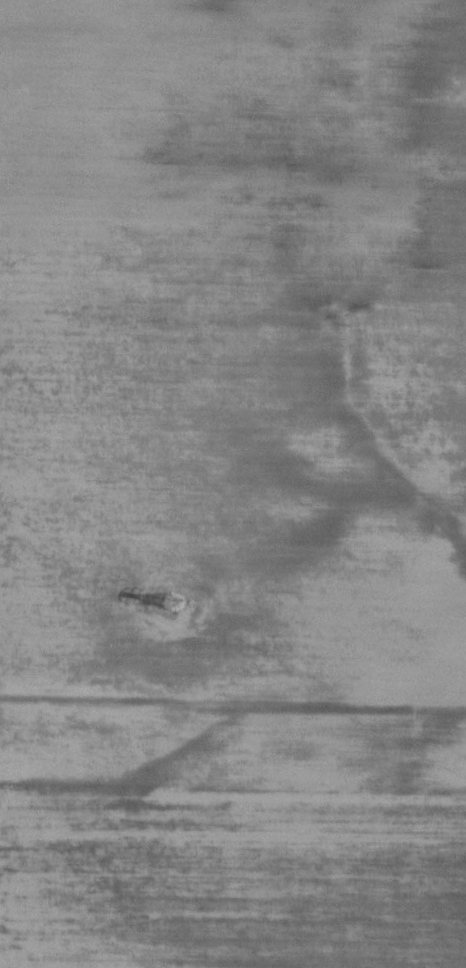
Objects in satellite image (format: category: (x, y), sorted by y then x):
power tower: (175, 605)

